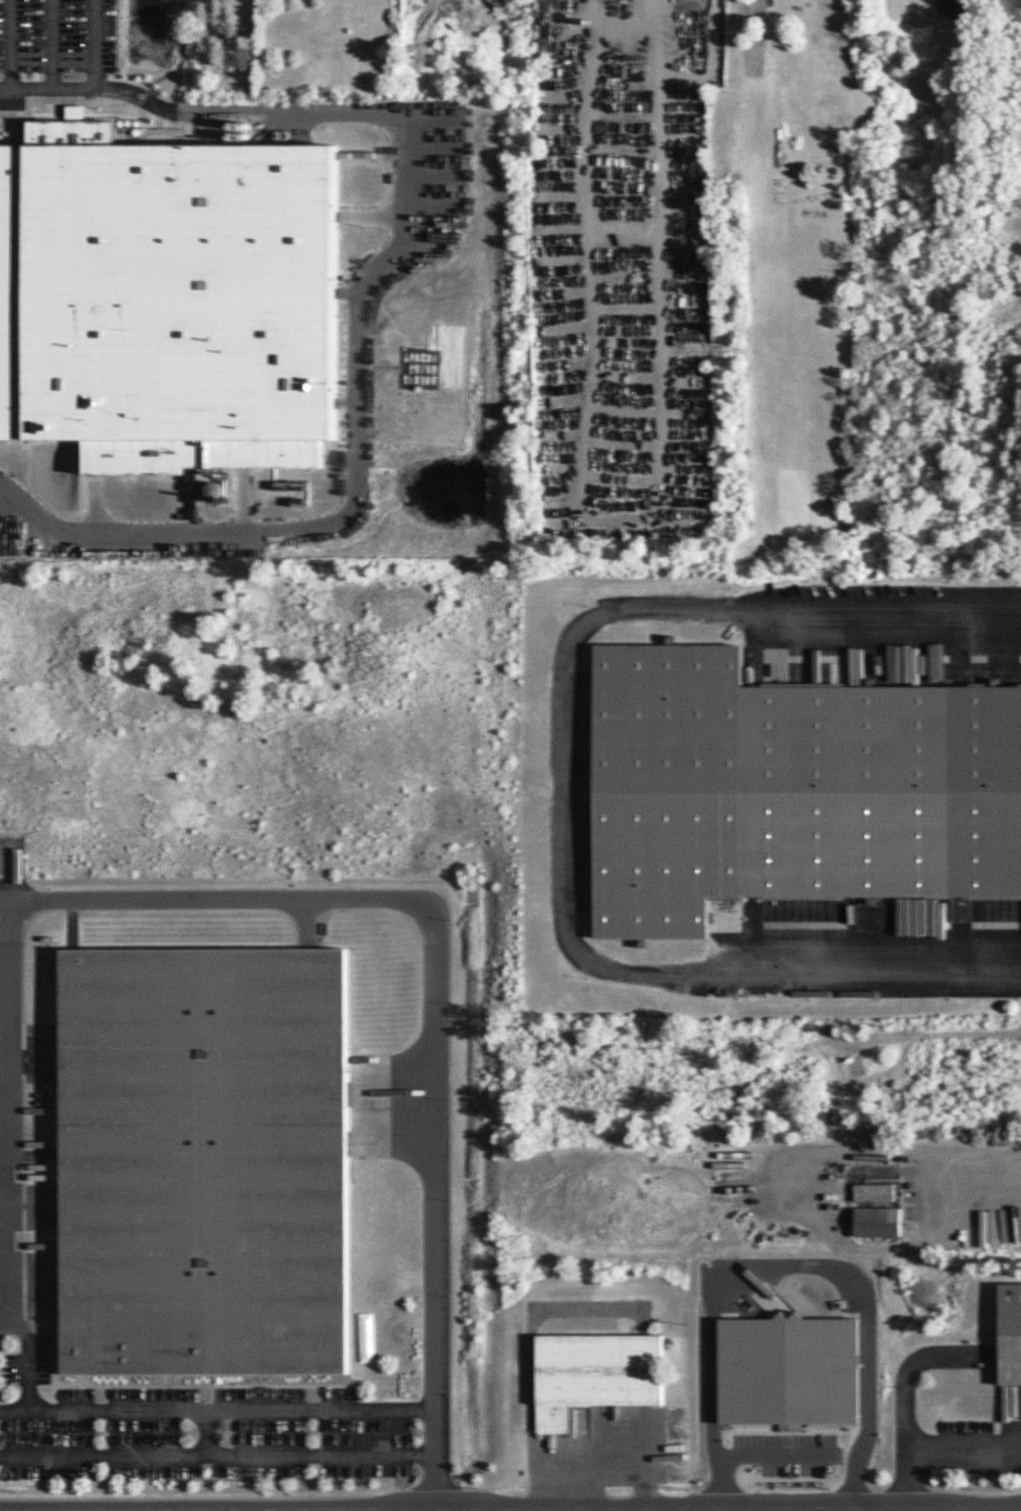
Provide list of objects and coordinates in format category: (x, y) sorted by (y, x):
road: (954, 6)
road: (96, 43)
road: (52, 44)
road: (10, 45)
road: (193, 109)
road: (369, 136)
road: (369, 200)
building: (169, 287)
road: (357, 482)
road: (189, 487)
road: (244, 487)
road: (92, 488)
building: (784, 763)
road: (564, 789)
road: (437, 980)
road: (935, 1022)
road: (977, 1135)
building: (205, 1144)
building: (877, 1189)
road: (798, 1199)
building: (879, 1222)
road: (784, 1264)
building: (1009, 1312)
building: (594, 1349)
building: (790, 1371)
road: (901, 1378)
road: (220, 1391)
road: (206, 1416)
road: (962, 1435)
road: (220, 1440)
road: (769, 1453)
road: (607, 1465)
road: (510, 1507)
road: (776, 1508)

